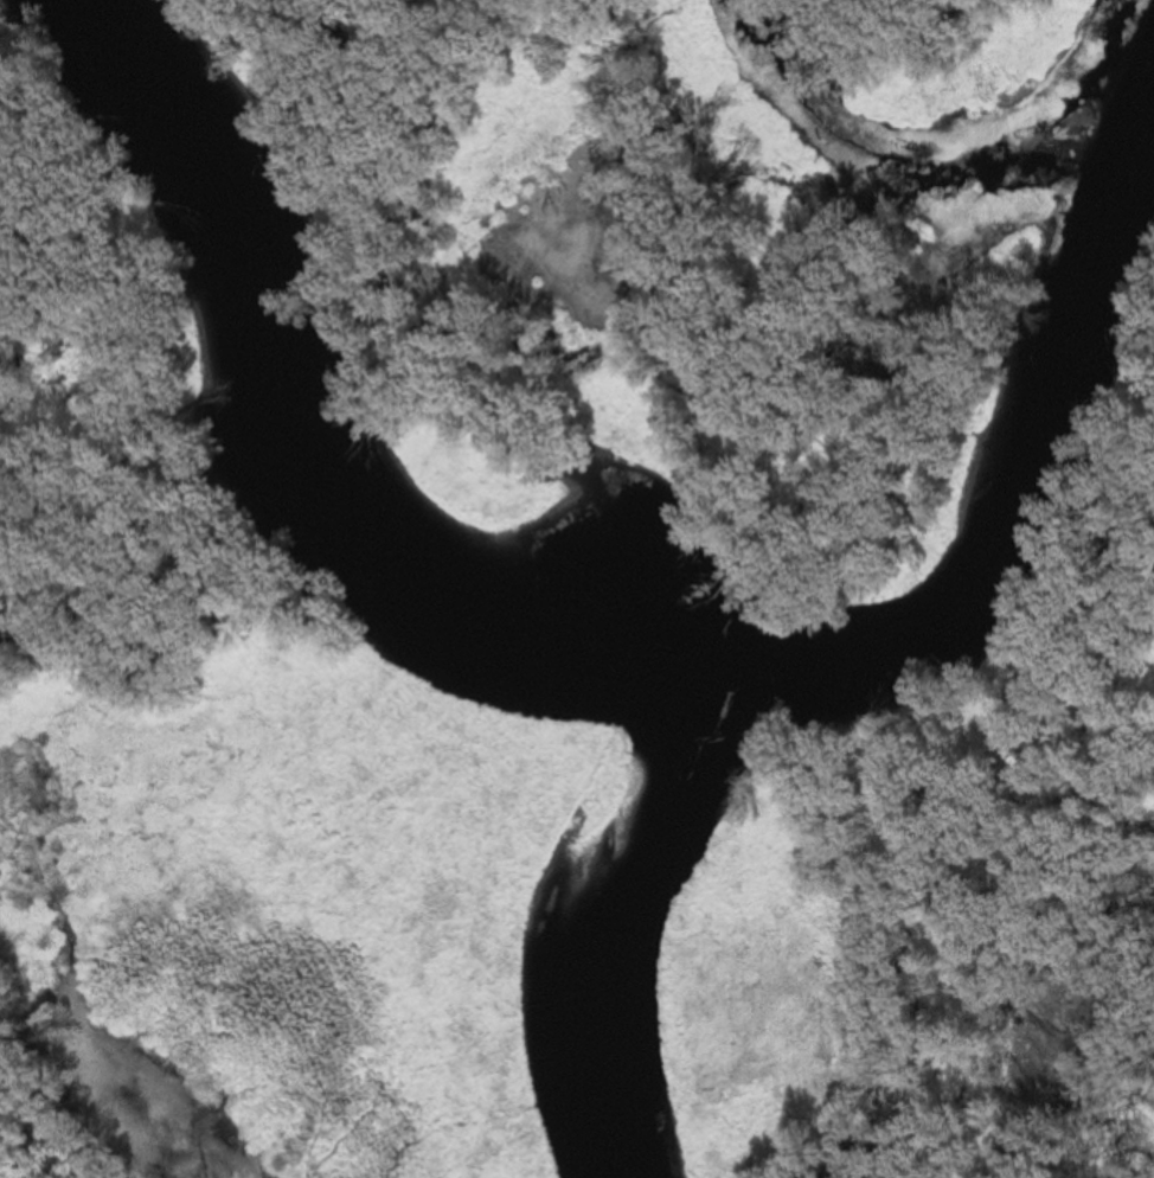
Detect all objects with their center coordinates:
river: (290, 452)

